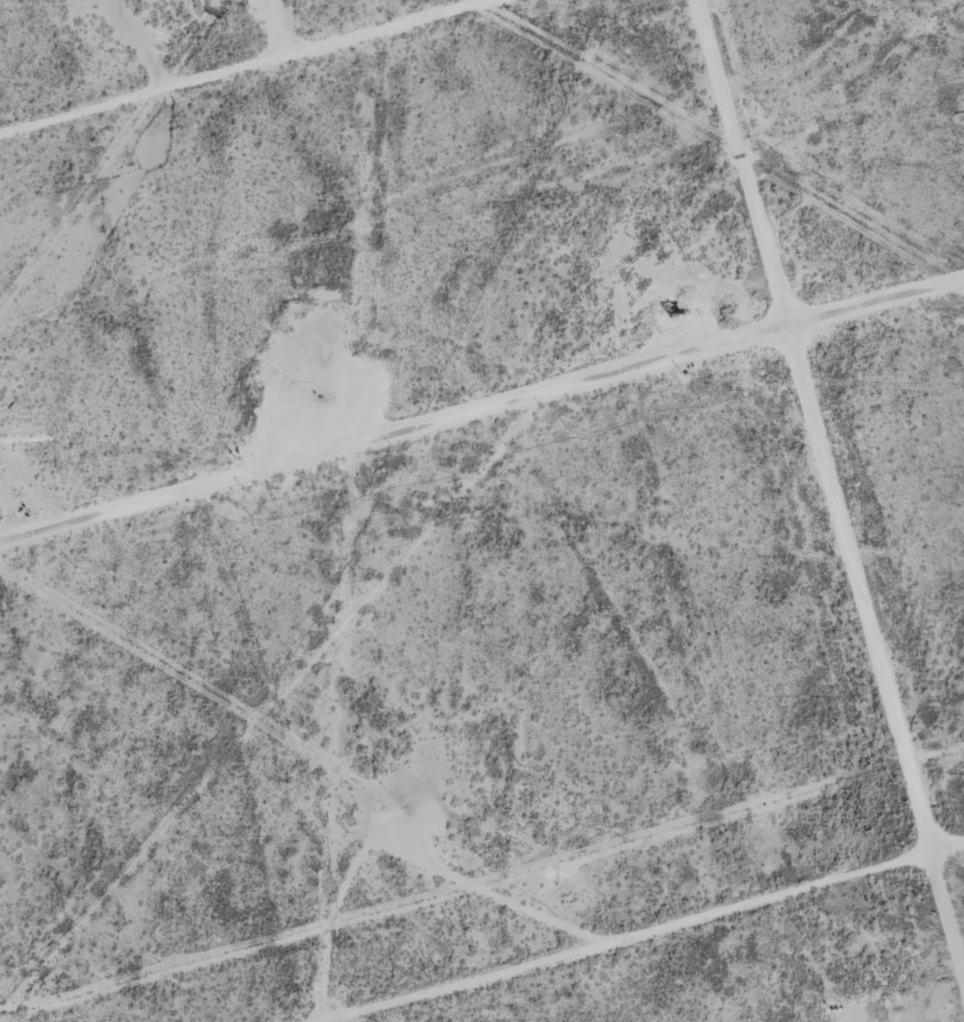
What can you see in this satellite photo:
road: (482, 435)
road: (779, 510)

